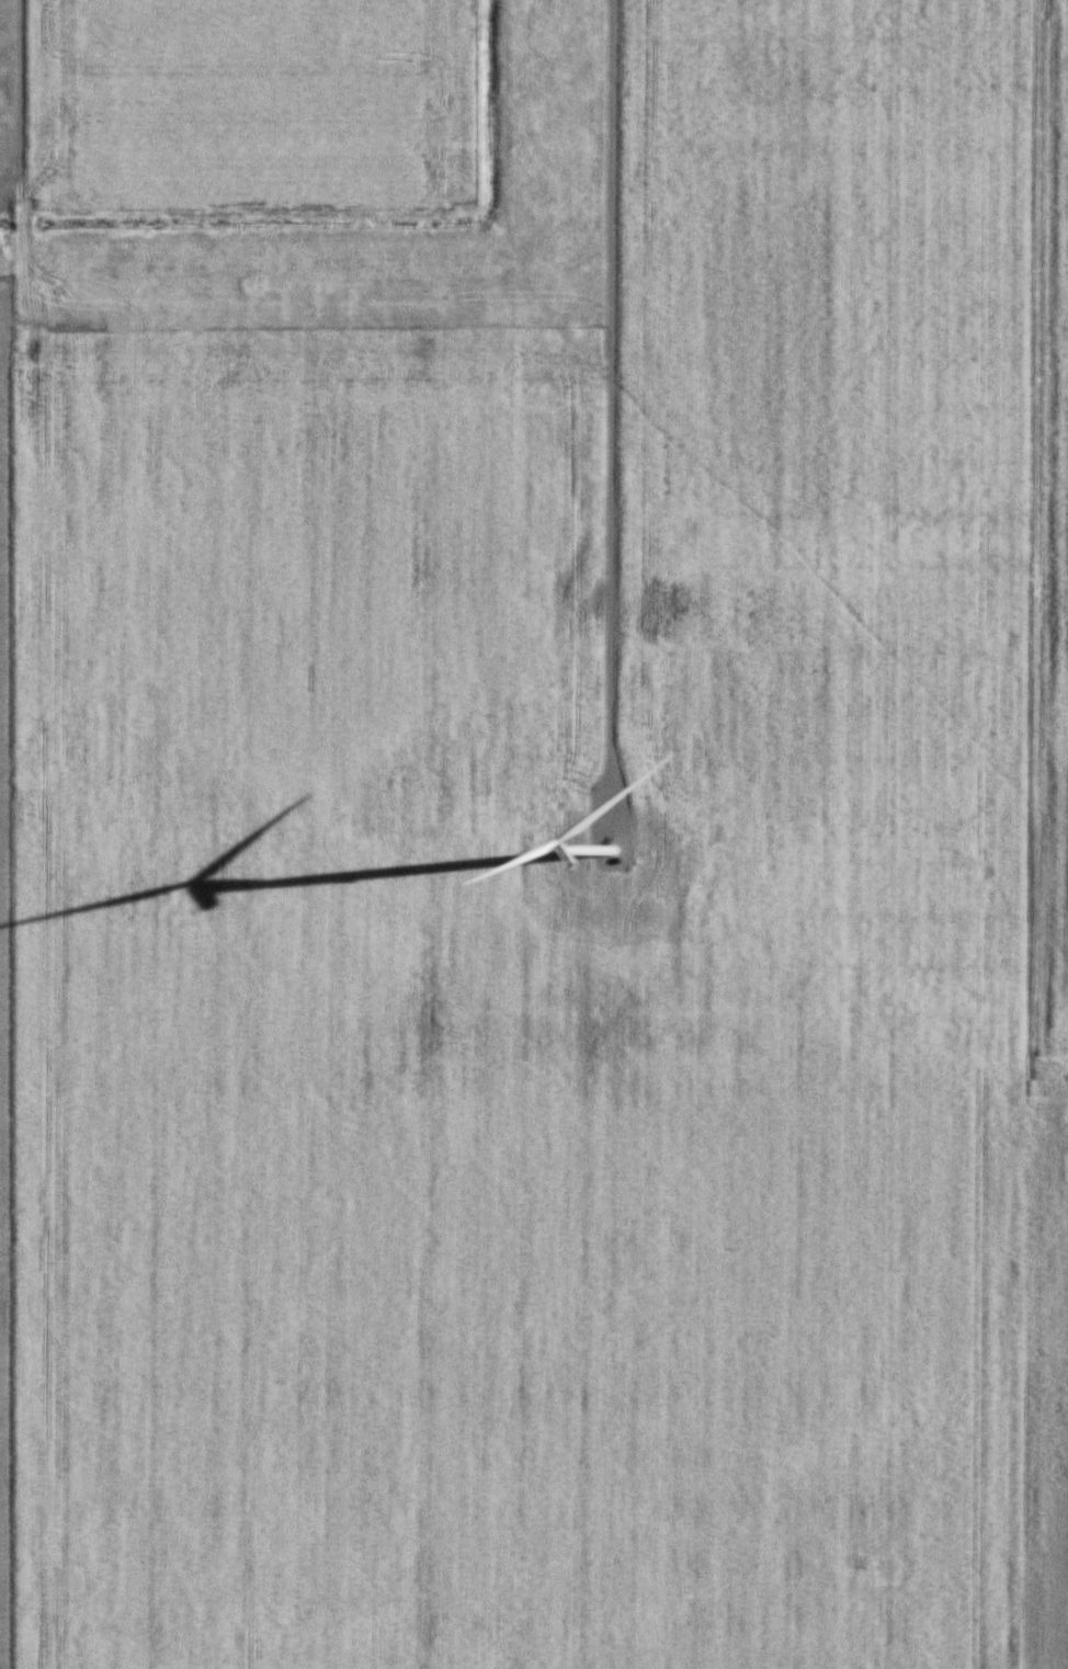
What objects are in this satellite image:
road: (607, 340)
wind turbine: (593, 838)

